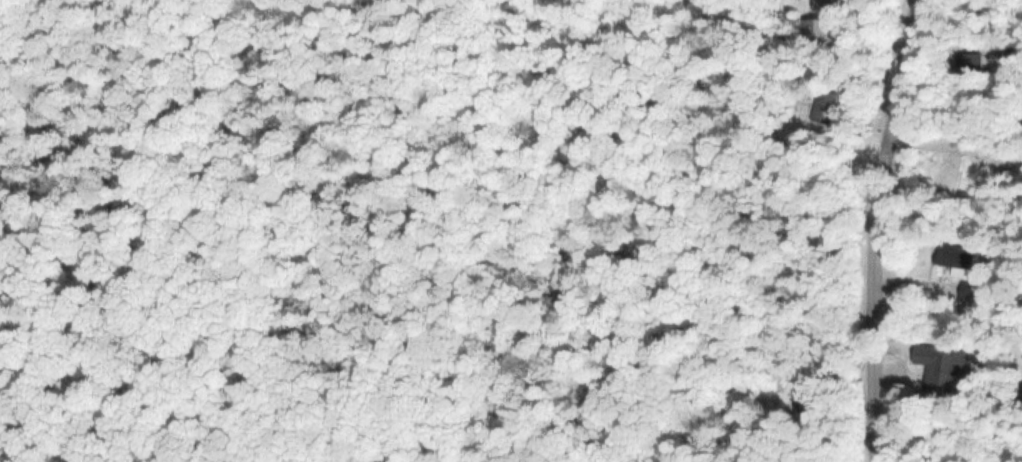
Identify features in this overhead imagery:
building: (964, 63)
building: (819, 105)
road: (868, 229)
building: (952, 255)
building: (967, 291)
building: (939, 366)

